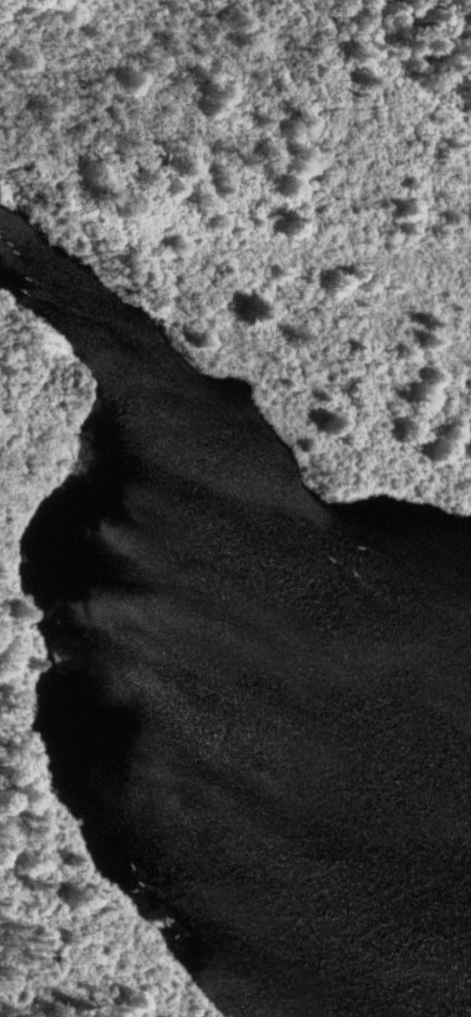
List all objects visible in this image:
river: (202, 577)

